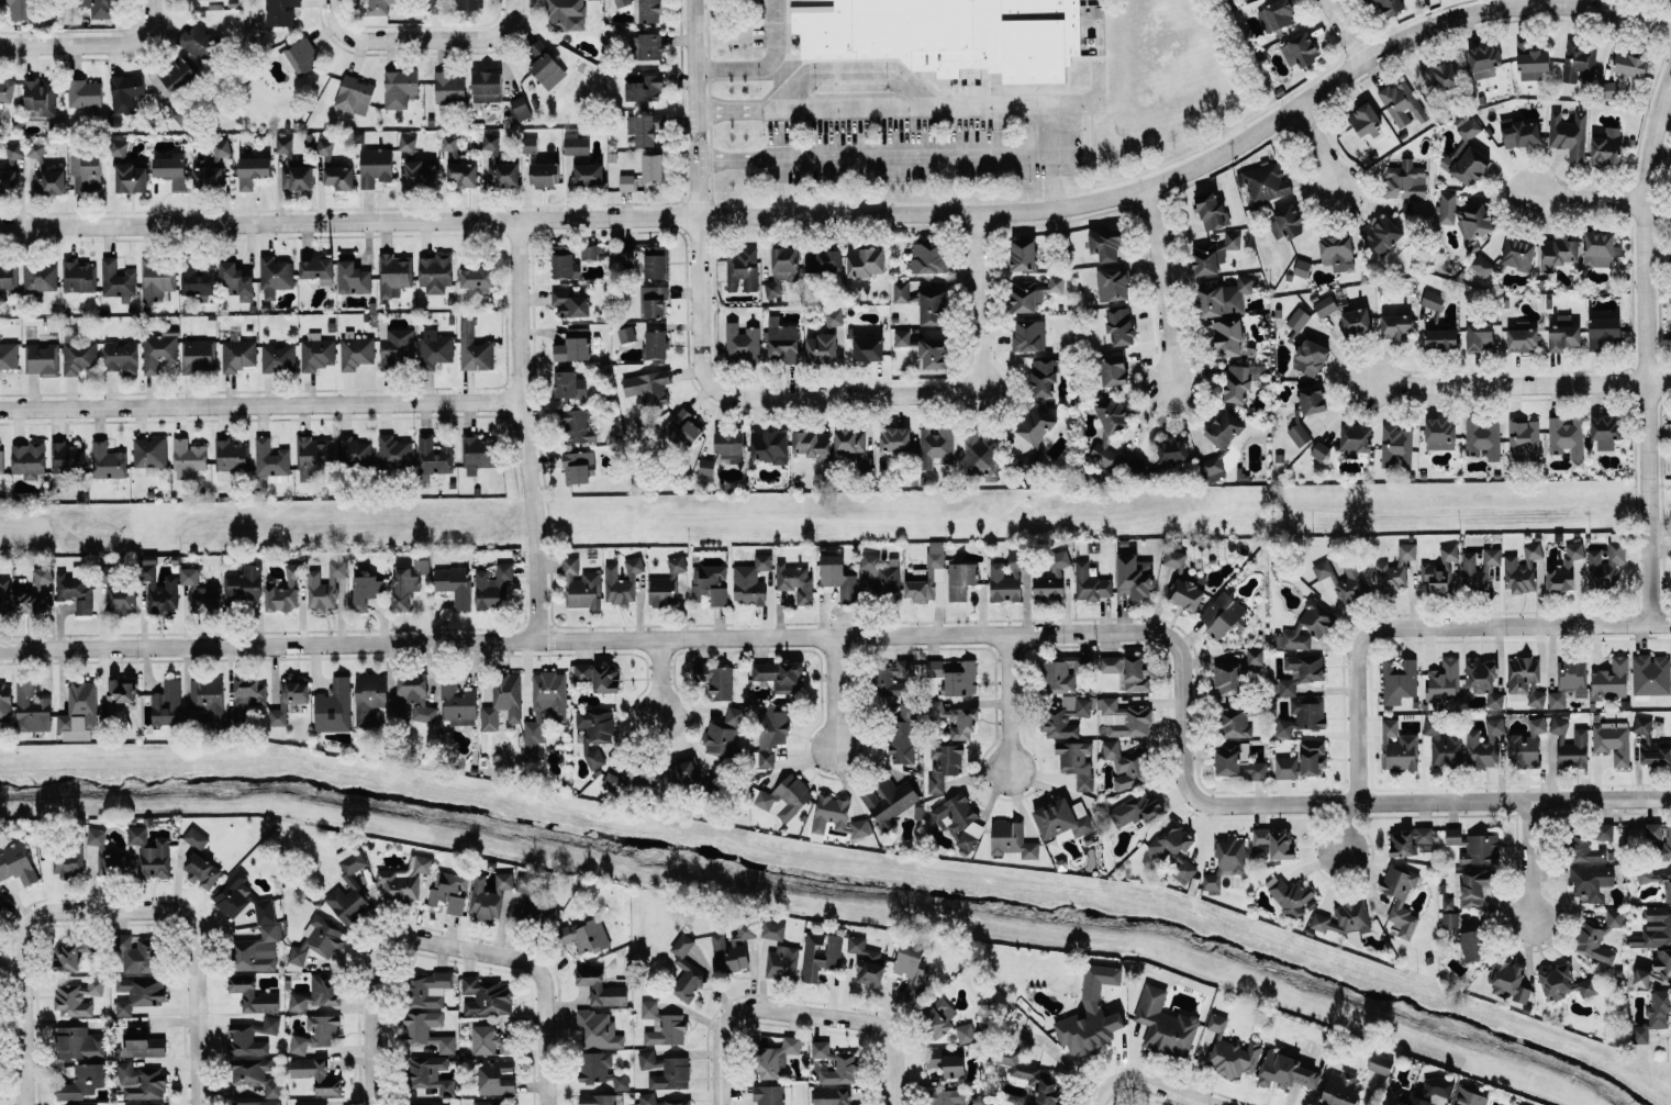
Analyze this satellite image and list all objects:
building: (622, 2)
road: (1512, 3)
building: (468, 4)
building: (436, 5)
building: (1389, 5)
building: (379, 7)
building: (21, 9)
building: (102, 9)
building: (649, 11)
building: (280, 12)
building: (565, 14)
building: (1277, 14)
road: (1343, 31)
building: (948, 34)
road: (483, 38)
road: (366, 41)
building: (199, 42)
road: (129, 43)
building: (647, 45)
road: (38, 46)
building: (1300, 49)
building: (299, 57)
building: (1483, 59)
building: (1530, 62)
building: (1579, 62)
building: (1629, 64)
road: (766, 65)
building: (546, 67)
building: (172, 77)
building: (1440, 78)
building: (487, 86)
building: (448, 87)
building: (643, 87)
building: (399, 88)
building: (1611, 89)
building: (7, 90)
building: (125, 92)
building: (85, 93)
building: (354, 94)
building: (40, 98)
road: (1095, 103)
building: (1402, 103)
building: (520, 107)
road: (946, 107)
road: (854, 108)
road: (737, 109)
building: (644, 127)
building: (1520, 132)
building: (1569, 133)
building: (406, 143)
building: (530, 144)
building: (576, 144)
road: (1326, 146)
building: (1607, 146)
building: (118, 147)
building: (14, 149)
building: (215, 153)
building: (1469, 153)
road: (913, 155)
road: (737, 158)
building: (458, 165)
building: (498, 165)
building: (375, 166)
building: (292, 167)
building: (651, 167)
building: (334, 168)
building: (171, 170)
building: (252, 170)
building: (86, 171)
building: (45, 172)
building: (420, 174)
building: (544, 174)
building: (588, 175)
building: (208, 176)
building: (129, 178)
building: (1405, 179)
building: (7, 180)
building: (626, 182)
building: (1263, 182)
road: (777, 186)
road: (1585, 194)
building: (1211, 210)
road: (862, 213)
building: (1464, 216)
building: (1286, 222)
building: (1382, 234)
building: (1105, 245)
building: (1600, 248)
building: (626, 250)
building: (592, 252)
building: (1337, 252)
building: (1557, 253)
building: (1023, 254)
building: (1518, 254)
building: (1214, 255)
building: (927, 257)
building: (564, 261)
building: (655, 261)
building: (823, 261)
building: (866, 261)
building: (1481, 265)
building: (315, 267)
building: (1302, 268)
building: (781, 269)
building: (743, 270)
building: (435, 272)
building: (393, 275)
building: (9, 276)
building: (40, 276)
building: (275, 276)
building: (353, 276)
building: (77, 277)
building: (157, 277)
building: (477, 277)
building: (196, 279)
building: (116, 280)
building: (235, 281)
building: (1112, 284)
road: (1166, 289)
building: (902, 292)
building: (1025, 295)
building: (1224, 297)
building: (653, 300)
building: (1433, 300)
building: (570, 303)
road: (982, 303)
building: (1324, 305)
building: (932, 306)
building: (834, 316)
building: (1297, 319)
building: (1357, 321)
building: (1121, 325)
building: (1395, 325)
road: (702, 327)
building: (1603, 331)
building: (624, 333)
building: (1563, 333)
building: (1028, 335)
building: (1479, 335)
building: (901, 337)
building: (1227, 337)
building: (1440, 338)
building: (1522, 338)
building: (782, 341)
building: (742, 343)
building: (655, 344)
building: (573, 345)
road: (1646, 346)
building: (397, 347)
building: (436, 347)
building: (868, 347)
building: (474, 348)
building: (822, 348)
building: (158, 350)
building: (316, 351)
building: (356, 351)
building: (237, 353)
building: (934, 353)
building: (9, 355)
building: (79, 355)
building: (198, 355)
building: (120, 356)
building: (278, 357)
building: (1310, 357)
building: (41, 359)
building: (1113, 370)
building: (1043, 377)
road: (1517, 381)
building: (1238, 382)
building: (570, 384)
building: (647, 388)
building: (1312, 399)
road: (263, 406)
building: (1112, 413)
building: (1035, 424)
building: (576, 425)
building: (686, 426)
road: (528, 427)
building: (1224, 427)
building: (1604, 431)
building: (1439, 433)
building: (1299, 434)
building: (1566, 436)
building: (1483, 437)
building: (894, 438)
building: (1524, 438)
building: (1355, 439)
building: (812, 444)
building: (853, 445)
building: (729, 446)
building: (769, 446)
building: (935, 446)
building: (1396, 446)
building: (1319, 449)
building: (354, 450)
building: (393, 450)
building: (149, 451)
building: (1172, 451)
building: (478, 453)
building: (1104, 454)
building: (980, 455)
building: (1, 456)
building: (63, 456)
building: (433, 456)
building: (311, 457)
building: (188, 458)
building: (230, 458)
building: (270, 458)
building: (27, 459)
building: (108, 460)
building: (578, 467)
building: (706, 467)
building: (1212, 468)
building: (1448, 551)
building: (1616, 551)
building: (1174, 558)
building: (421, 566)
building: (1394, 568)
building: (1479, 568)
building: (1522, 569)
building: (1564, 569)
building: (1601, 570)
building: (881, 574)
building: (926, 574)
building: (189, 576)
building: (1134, 576)
building: (1436, 576)
building: (837, 577)
building: (1051, 577)
building: (1006, 578)
building: (960, 579)
building: (750, 580)
building: (1341, 580)
building: (622, 581)
building: (794, 581)
building: (243, 583)
building: (454, 583)
building: (709, 583)
building: (1090, 583)
building: (668, 584)
building: (324, 585)
building: (581, 585)
building: (492, 587)
building: (75, 588)
building: (403, 588)
building: (283, 590)
building: (365, 591)
building: (35, 592)
building: (4, 593)
building: (118, 593)
building: (1187, 593)
building: (163, 598)
building: (205, 599)
building: (1222, 614)
road: (1427, 620)
building: (1310, 625)
road: (913, 632)
building: (1255, 656)
building: (1111, 663)
building: (1065, 672)
building: (1301, 672)
building: (1136, 673)
building: (1650, 674)
building: (598, 676)
building: (779, 676)
building: (955, 676)
road: (662, 677)
building: (895, 678)
building: (1226, 678)
building: (1525, 679)
building: (716, 680)
building: (1611, 680)
building: (1399, 681)
building: (1442, 681)
building: (1483, 681)
building: (1568, 682)
building: (508, 687)
road: (835, 689)
building: (121, 693)
building: (246, 693)
building: (208, 699)
building: (369, 699)
building: (413, 699)
building: (288, 700)
building: (5, 701)
building: (167, 703)
road: (1011, 703)
building: (457, 704)
building: (334, 706)
building: (544, 706)
building: (31, 708)
building: (79, 711)
building: (1065, 716)
building: (1302, 716)
building: (1124, 717)
building: (955, 719)
building: (1236, 724)
building: (771, 732)
building: (594, 733)
building: (723, 733)
building: (1612, 739)
building: (900, 741)
building: (1526, 744)
building: (1650, 744)
building: (1442, 745)
building: (1483, 745)
building: (1570, 745)
building: (1397, 747)
building: (1312, 757)
building: (1238, 760)
building: (1077, 762)
building: (944, 763)
building: (1126, 764)
building: (1285, 767)
building: (684, 771)
building: (642, 774)
building: (612, 781)
building: (786, 797)
building: (890, 801)
building: (1135, 810)
building: (836, 816)
building: (960, 818)
building: (1060, 818)
road: (1338, 826)
building: (1424, 834)
building: (1452, 835)
building: (1660, 837)
building: (196, 838)
building: (1012, 839)
building: (1274, 842)
building: (1401, 842)
building: (1590, 844)
building: (1481, 849)
building: (151, 852)
building: (107, 856)
building: (67, 860)
road: (1529, 861)
building: (16, 862)
building: (1225, 862)
building: (202, 870)
building: (1655, 879)
building: (349, 880)
building: (404, 880)
building: (1592, 881)
building: (1474, 886)
building: (449, 891)
building: (1290, 895)
building: (488, 896)
building: (1400, 897)
building: (534, 901)
building: (1614, 918)
building: (1345, 919)
building: (1449, 919)
building: (1655, 927)
building: (773, 930)
building: (584, 935)
building: (318, 940)
building: (1592, 941)
building: (90, 945)
building: (1471, 945)
building: (732, 948)
building: (834, 951)
building: (140, 953)
building: (66, 957)
building: (782, 961)
building: (866, 961)
road: (21, 962)
road: (202, 968)
building: (683, 969)
building: (1655, 970)
building: (911, 971)
building: (1508, 980)
building: (1566, 982)
road: (380, 983)
building: (600, 986)
building: (427, 990)
building: (140, 993)
building: (315, 993)
road: (547, 993)
building: (253, 994)
building: (486, 996)
building: (78, 997)
building: (1091, 1013)
building: (938, 1015)
building: (1653, 1015)
road: (728, 1019)
building: (1217, 1022)
building: (1163, 1024)
building: (662, 1025)
road: (888, 1028)
building: (426, 1029)
building: (598, 1029)
building: (316, 1033)
building: (965, 1033)
building: (252, 1036)
building: (489, 1040)
building: (79, 1042)
building: (143, 1043)
building: (776, 1057)
building: (1233, 1057)
building: (946, 1062)
building: (836, 1063)
building: (1380, 1064)
building: (600, 1069)
building: (666, 1070)
building: (1285, 1071)
building: (256, 1074)
building: (315, 1074)
building: (430, 1076)
building: (495, 1076)
road: (1150, 1080)
building: (81, 1081)
building: (141, 1081)
building: (1340, 1089)
building: (1423, 1093)
building: (771, 1094)
building: (647, 1095)
building: (832, 1095)
building: (1469, 1096)
building: (601, 1098)
building: (257, 1102)
building: (487, 1102)
building: (310, 1103)
building: (68, 1104)
building: (129, 1104)
building: (432, 1104)

